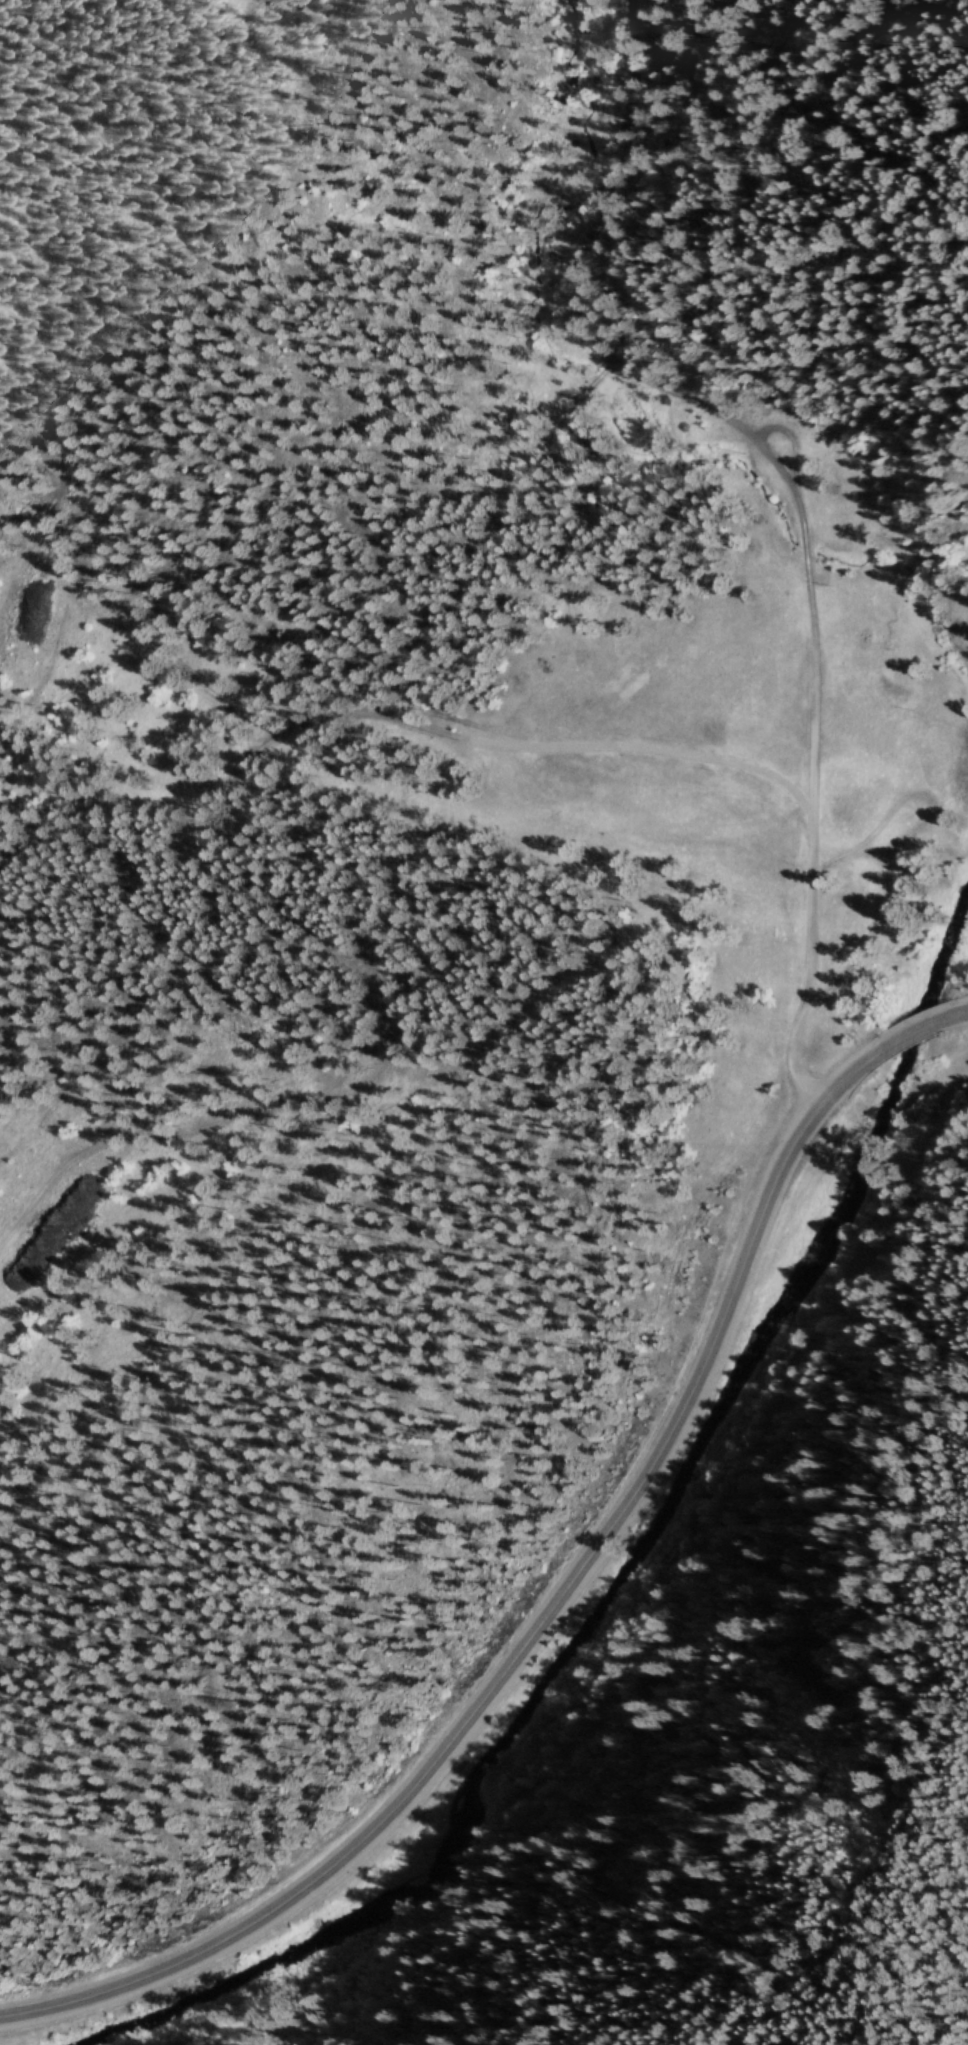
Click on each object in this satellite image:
road: (794, 501)
road: (956, 1023)
road: (915, 1038)
road: (536, 1630)

